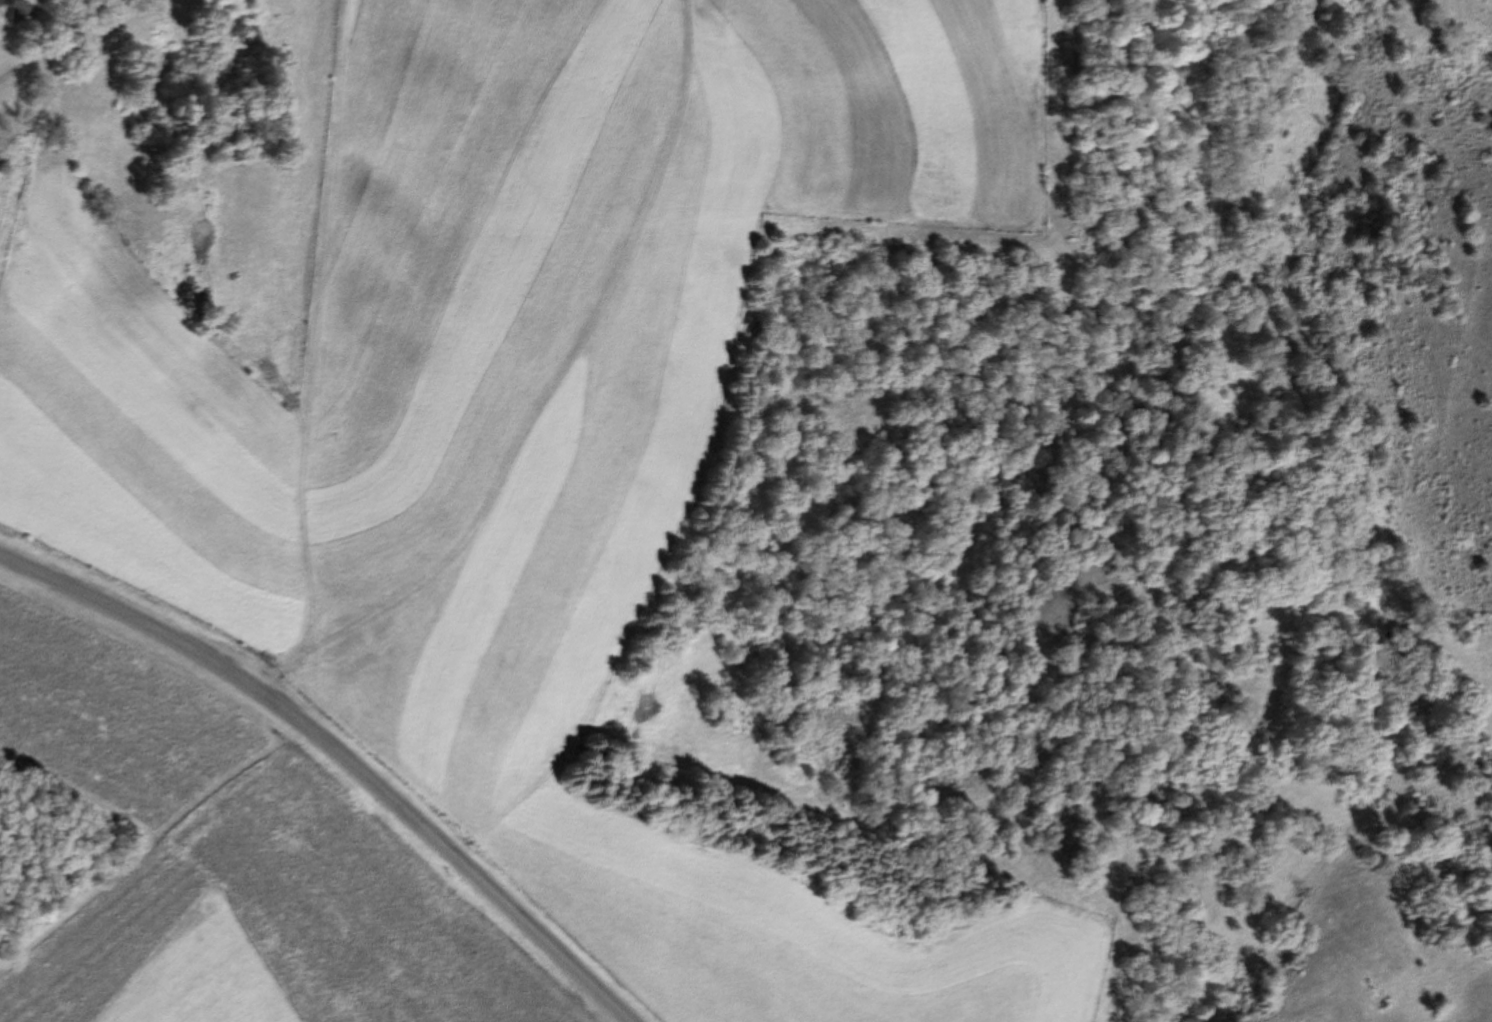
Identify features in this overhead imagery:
building: (11, 10)
road: (338, 757)

